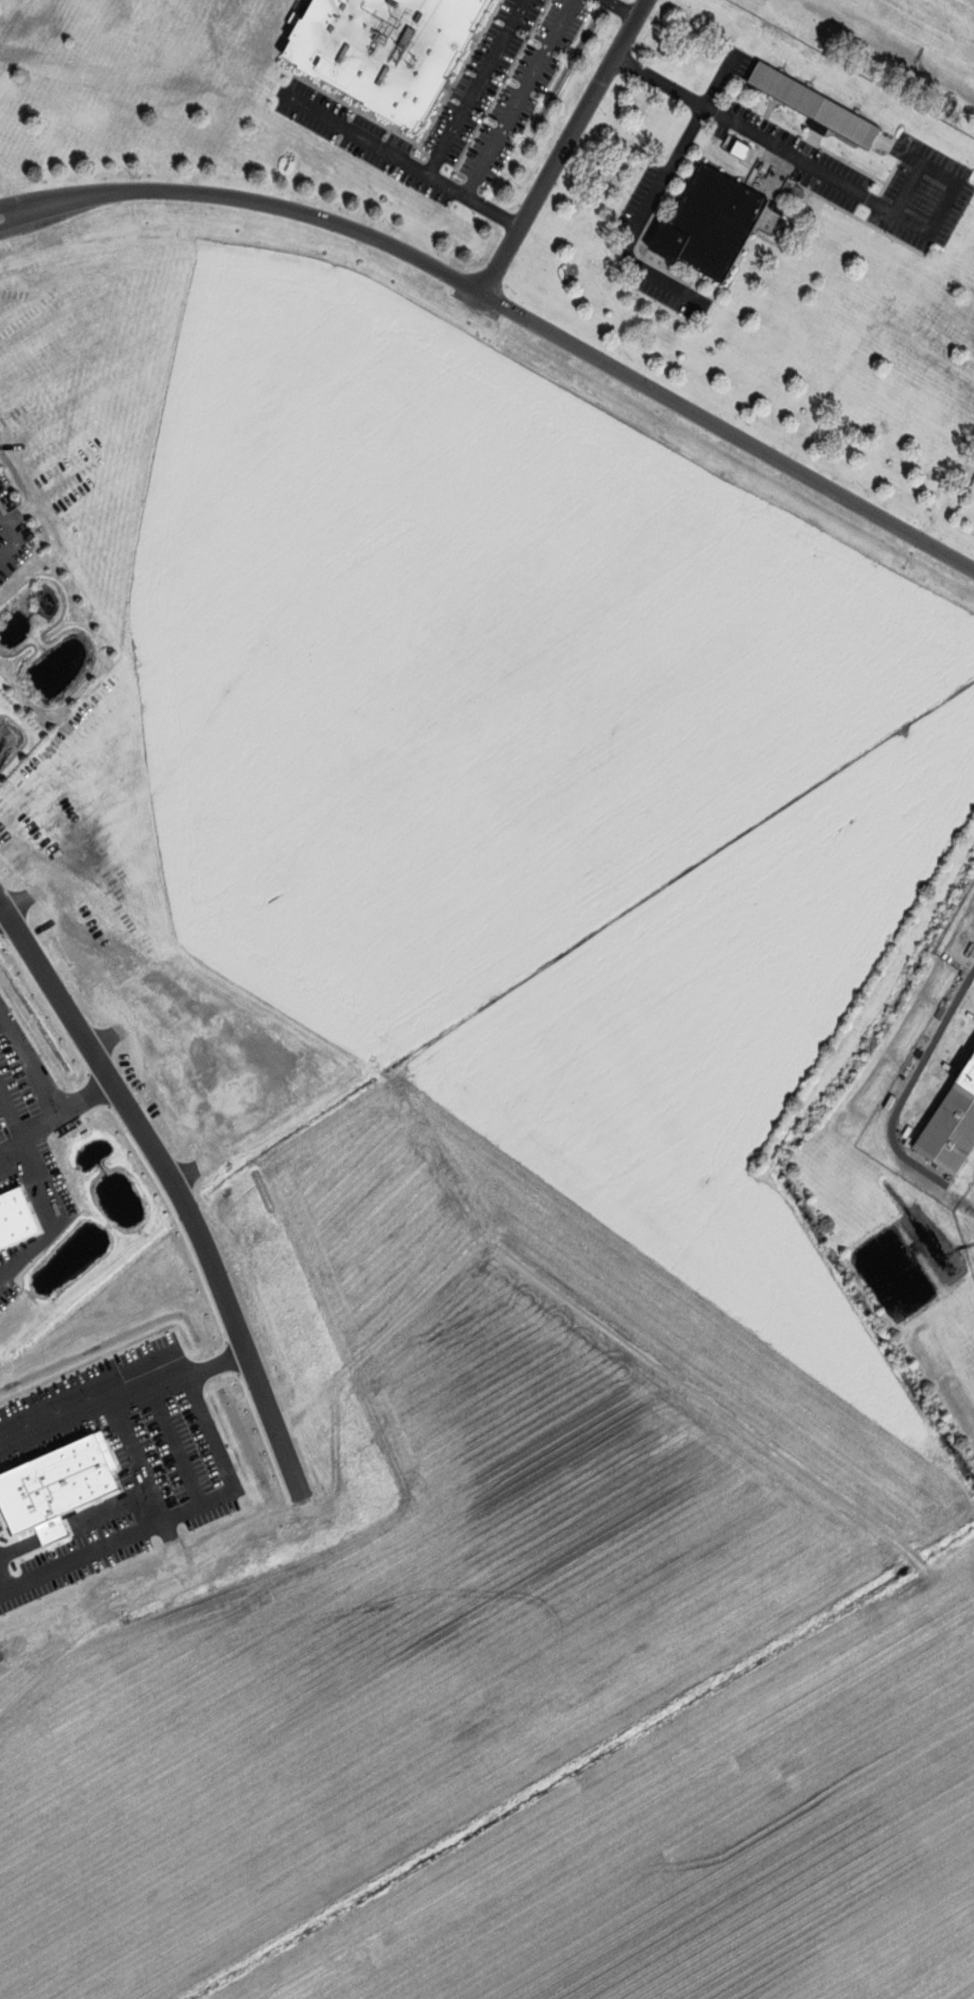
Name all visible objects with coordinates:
road: (622, 9)
building: (389, 50)
road: (476, 87)
building: (828, 110)
road: (565, 147)
road: (406, 162)
road: (839, 181)
road: (658, 191)
building: (713, 223)
road: (506, 309)
road: (909, 1089)
building: (956, 1133)
road: (174, 1184)

